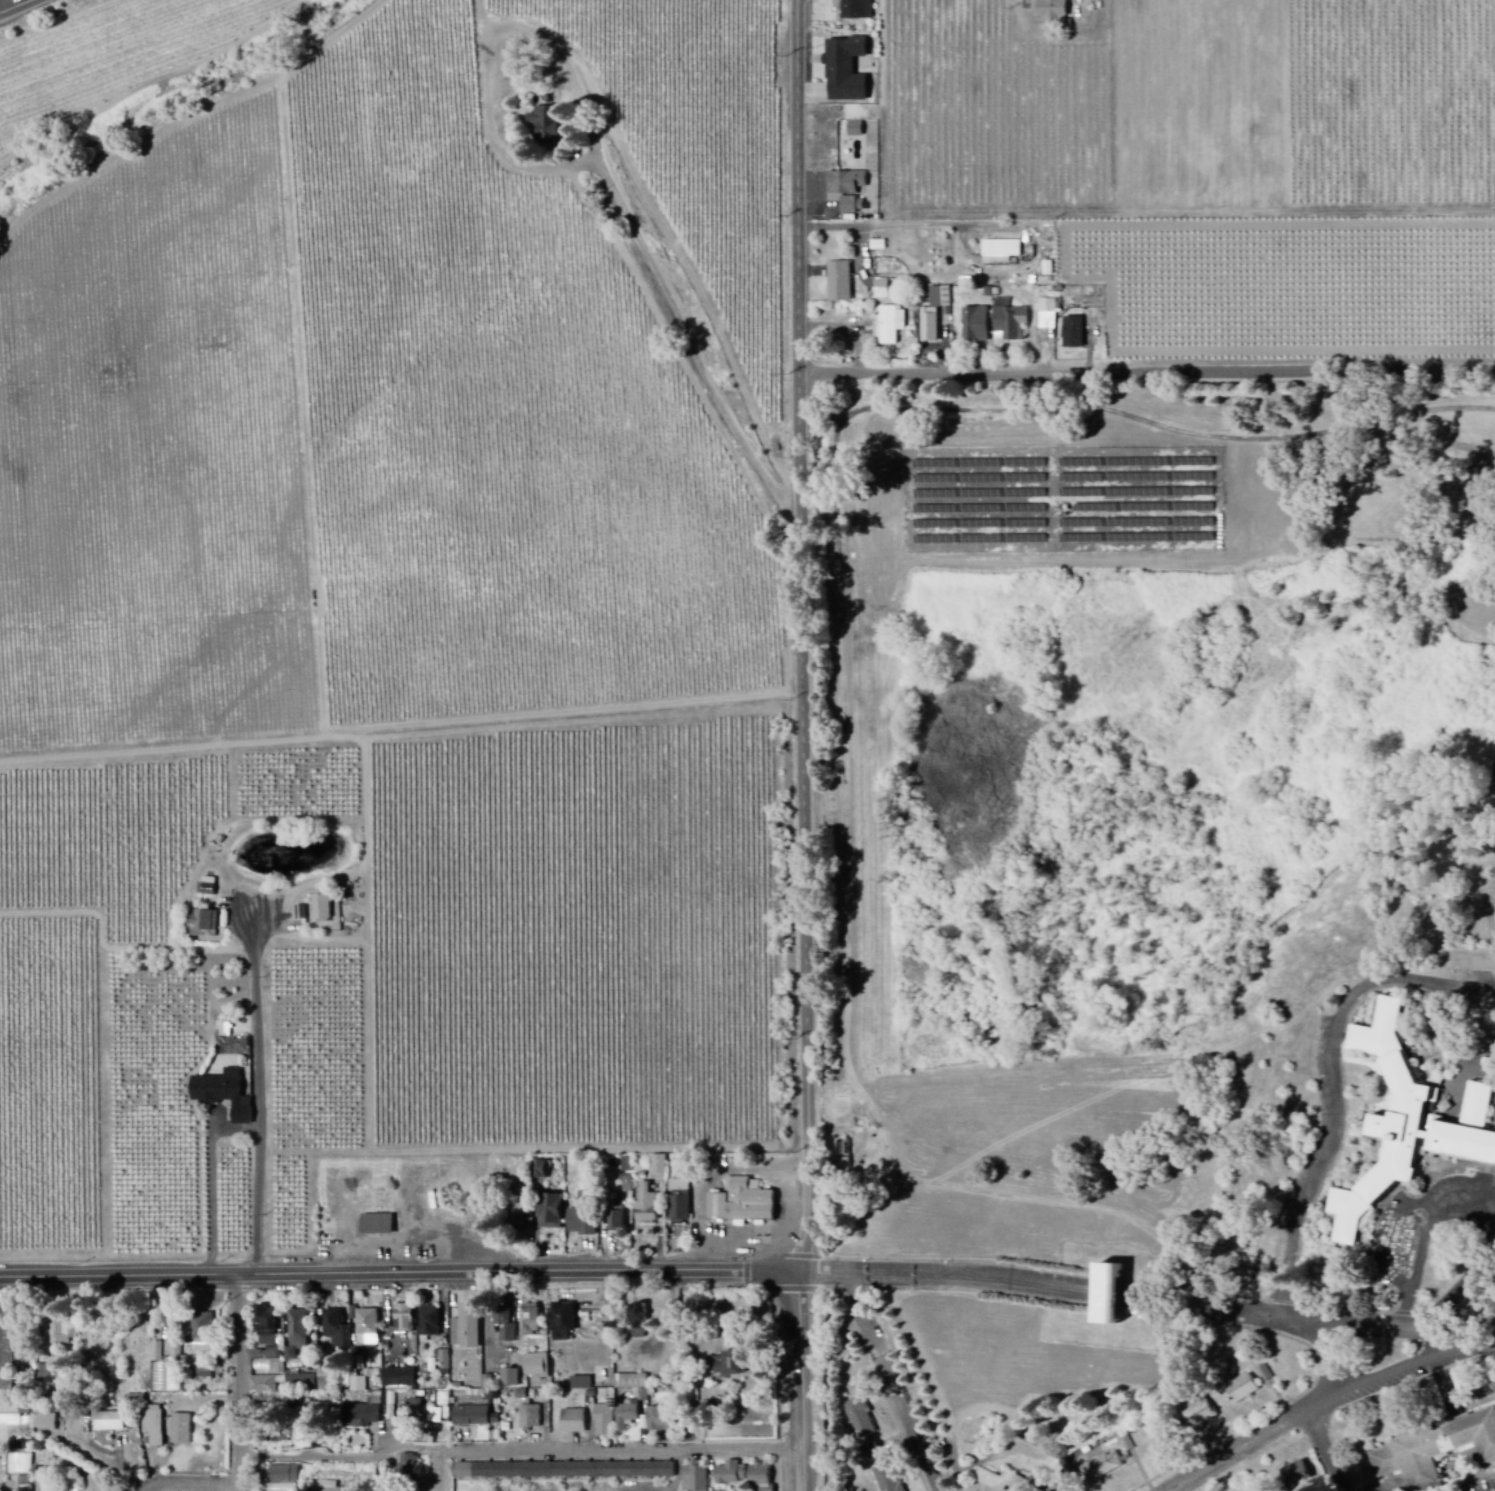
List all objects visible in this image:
road: (22, 8)
building: (857, 9)
building: (1051, 9)
building: (844, 71)
building: (542, 122)
building: (855, 130)
building: (846, 184)
building: (852, 206)
road: (929, 224)
road: (630, 227)
building: (1000, 252)
building: (839, 282)
building: (881, 290)
building: (939, 298)
building: (1048, 314)
building: (1009, 321)
building: (888, 326)
building: (929, 326)
building: (974, 326)
building: (1072, 333)
road: (1147, 376)
road: (1456, 611)
road: (803, 637)
building: (212, 888)
building: (321, 908)
building: (208, 920)
road: (885, 1008)
building: (233, 1047)
building: (223, 1094)
road: (1338, 1094)
road: (259, 1099)
building: (1410, 1124)
building: (627, 1165)
building: (658, 1168)
building: (540, 1169)
building: (627, 1184)
building: (679, 1200)
building: (741, 1203)
building: (646, 1206)
road: (1455, 1209)
building: (549, 1212)
building: (617, 1221)
building: (581, 1223)
building: (376, 1225)
road: (402, 1275)
building: (1106, 1294)
road: (1149, 1300)
building: (403, 1318)
building: (529, 1320)
building: (429, 1322)
building: (561, 1322)
building: (638, 1322)
building: (265, 1325)
building: (506, 1325)
building: (367, 1328)
building: (466, 1328)
building: (58, 1330)
building: (337, 1330)
building: (202, 1333)
building: (297, 1333)
building: (6, 1360)
building: (726, 1364)
building: (536, 1366)
building: (269, 1367)
building: (42, 1372)
building: (1264, 1374)
road: (1332, 1374)
road: (1392, 1375)
building: (398, 1379)
building: (510, 1379)
building: (301, 1381)
road: (804, 1383)
building: (581, 1384)
road: (893, 1384)
building: (358, 1385)
building: (634, 1385)
building: (263, 1386)
building: (1241, 1390)
building: (1199, 1415)
building: (12, 1416)
building: (626, 1416)
building: (360, 1417)
building: (471, 1417)
road: (242, 1418)
building: (530, 1418)
building: (860, 1419)
building: (603, 1421)
building: (660, 1421)
building: (44, 1422)
building: (108, 1422)
building: (573, 1422)
building: (153, 1427)
building: (180, 1430)
building: (279, 1436)
building: (303, 1439)
building: (1126, 1444)
building: (1437, 1451)
road: (1242, 1453)
road: (1324, 1453)
road: (521, 1455)
building: (409, 1465)
building: (1103, 1468)
building: (612, 1469)
building: (653, 1469)
building: (492, 1470)
building: (532, 1470)
building: (572, 1470)
road: (434, 1471)
building: (462, 1471)
road: (690, 1473)
building: (1295, 1474)
building: (743, 1475)
building: (694, 1478)
building: (887, 1478)
building: (282, 1479)
building: (1000, 1481)
building: (328, 1487)
building: (70, 1490)

